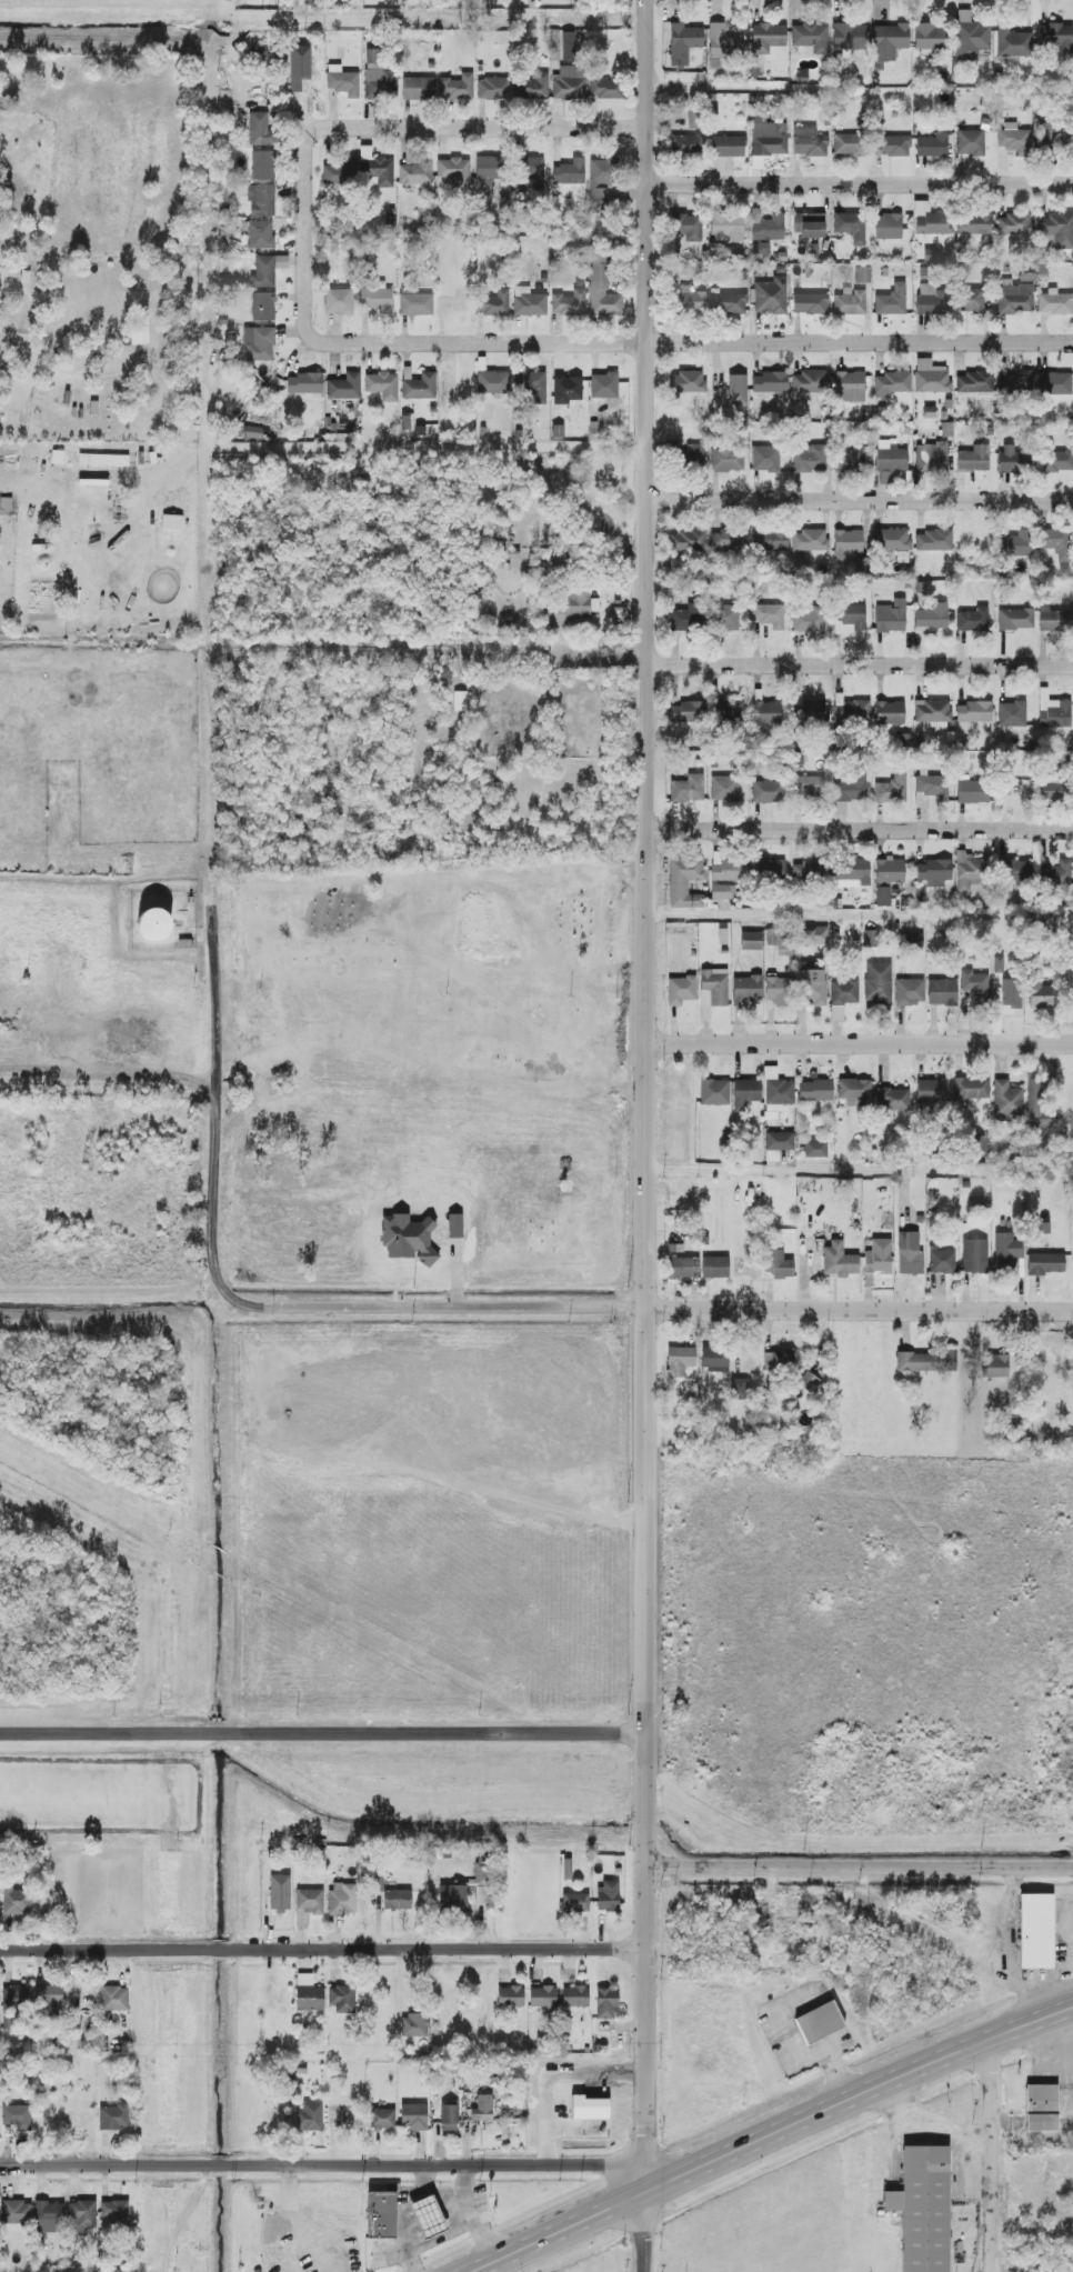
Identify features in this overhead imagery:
building: (849, 37)
building: (970, 37)
building: (768, 38)
building: (1055, 38)
building: (810, 39)
building: (929, 39)
building: (890, 41)
building: (1013, 42)
building: (683, 43)
building: (723, 43)
building: (568, 46)
building: (379, 77)
building: (342, 81)
building: (304, 82)
building: (568, 84)
building: (457, 87)
building: (418, 88)
building: (533, 88)
building: (493, 89)
building: (606, 89)
road: (491, 127)
building: (260, 129)
building: (1052, 137)
building: (1014, 139)
building: (766, 140)
building: (809, 142)
building: (970, 142)
building: (688, 144)
building: (848, 144)
building: (728, 146)
building: (892, 146)
building: (932, 146)
building: (263, 164)
building: (375, 169)
building: (489, 169)
building: (532, 171)
building: (341, 172)
building: (417, 172)
building: (454, 172)
building: (569, 172)
building: (601, 179)
road: (860, 187)
building: (261, 200)
road: (305, 218)
building: (931, 220)
building: (974, 223)
building: (808, 224)
building: (1014, 224)
building: (851, 226)
building: (688, 227)
building: (766, 227)
building: (890, 227)
building: (726, 228)
building: (1056, 231)
building: (260, 234)
building: (760, 248)
building: (267, 270)
building: (862, 274)
building: (602, 290)
building: (771, 296)
building: (1015, 298)
building: (377, 300)
building: (691, 300)
building: (932, 300)
building: (970, 300)
building: (339, 301)
building: (528, 301)
building: (891, 301)
building: (494, 303)
building: (569, 303)
building: (732, 303)
building: (810, 303)
building: (850, 303)
building: (1055, 303)
building: (415, 304)
building: (263, 307)
building: (140, 333)
building: (259, 343)
road: (689, 343)
road: (208, 377)
building: (931, 377)
building: (493, 382)
building: (686, 382)
building: (769, 382)
building: (810, 382)
building: (975, 382)
building: (304, 383)
building: (891, 383)
building: (1015, 383)
building: (1054, 383)
building: (382, 386)
building: (532, 386)
building: (603, 386)
building: (344, 387)
building: (420, 387)
building: (850, 387)
building: (736, 389)
building: (568, 391)
building: (253, 432)
road: (381, 448)
building: (685, 454)
building: (931, 457)
building: (809, 458)
building: (764, 459)
building: (889, 459)
building: (973, 459)
building: (1013, 459)
building: (103, 460)
building: (726, 460)
building: (1054, 461)
building: (846, 462)
road: (859, 503)
building: (172, 521)
building: (891, 539)
building: (688, 540)
building: (726, 540)
building: (769, 540)
building: (809, 540)
building: (933, 541)
building: (1056, 542)
building: (846, 543)
building: (1014, 544)
building: (573, 603)
building: (769, 615)
building: (851, 615)
building: (728, 617)
building: (891, 617)
building: (688, 618)
building: (932, 618)
building: (1015, 619)
building: (1054, 619)
building: (809, 620)
building: (973, 620)
road: (753, 661)
building: (460, 701)
building: (728, 711)
building: (973, 711)
building: (1053, 711)
building: (686, 712)
building: (890, 712)
building: (768, 713)
building: (812, 713)
building: (851, 713)
building: (1012, 714)
building: (809, 787)
building: (724, 788)
building: (849, 788)
building: (688, 789)
building: (892, 789)
building: (930, 789)
building: (1052, 790)
building: (972, 791)
building: (768, 792)
road: (860, 828)
building: (939, 869)
building: (770, 870)
building: (970, 871)
building: (810, 872)
building: (852, 872)
building: (920, 872)
building: (1015, 873)
building: (1055, 874)
building: (888, 878)
building: (684, 882)
building: (722, 891)
road: (791, 915)
building: (153, 923)
road: (646, 932)
building: (813, 935)
building: (751, 941)
building: (870, 941)
building: (914, 941)
building: (784, 948)
building: (878, 983)
building: (975, 987)
building: (812, 988)
building: (681, 990)
building: (712, 990)
building: (746, 990)
building: (1010, 990)
building: (780, 991)
building: (910, 992)
building: (942, 992)
building: (1039, 993)
road: (215, 1001)
road: (860, 1043)
building: (971, 1088)
building: (815, 1090)
building: (931, 1091)
building: (714, 1092)
building: (854, 1092)
building: (745, 1093)
building: (892, 1099)
building: (1006, 1101)
building: (1037, 1107)
building: (778, 1144)
building: (980, 1144)
building: (815, 1150)
road: (804, 1170)
road: (212, 1203)
building: (1006, 1250)
building: (910, 1253)
building: (878, 1257)
building: (974, 1257)
building: (839, 1261)
building: (942, 1261)
building: (1045, 1263)
building: (780, 1264)
building: (715, 1267)
building: (680, 1268)
road: (663, 1309)
building: (714, 1359)
building: (680, 1360)
building: (779, 1360)
building: (925, 1361)
building: (995, 1367)
building: (808, 1381)
building: (739, 1389)
road: (327, 1733)
road: (861, 1866)
building: (279, 1892)
building: (608, 1895)
building: (453, 1898)
building: (342, 1899)
building: (16, 1900)
building: (398, 1900)
building: (310, 1901)
building: (575, 1902)
building: (1036, 1931)
road: (324, 1948)
road: (1010, 1948)
building: (309, 1993)
building: (17, 1996)
building: (510, 1996)
building: (542, 1996)
building: (575, 1996)
building: (49, 1998)
building: (113, 1998)
building: (342, 1998)
building: (606, 2003)
building: (819, 2021)
building: (415, 2025)
building: (43, 2039)
road: (137, 2058)
road: (651, 2069)
building: (482, 2108)
building: (589, 2108)
building: (1041, 2112)
building: (17, 2116)
building: (113, 2116)
building: (309, 2116)
building: (413, 2116)
building: (449, 2118)
building: (382, 2119)
road: (930, 2126)
road: (771, 2135)
road: (986, 2155)
road: (325, 2166)
building: (922, 2206)
building: (17, 2212)
building: (114, 2212)
building: (381, 2214)
building: (49, 2216)
building: (427, 2216)
building: (82, 2218)
road: (305, 2221)
road: (180, 2222)

